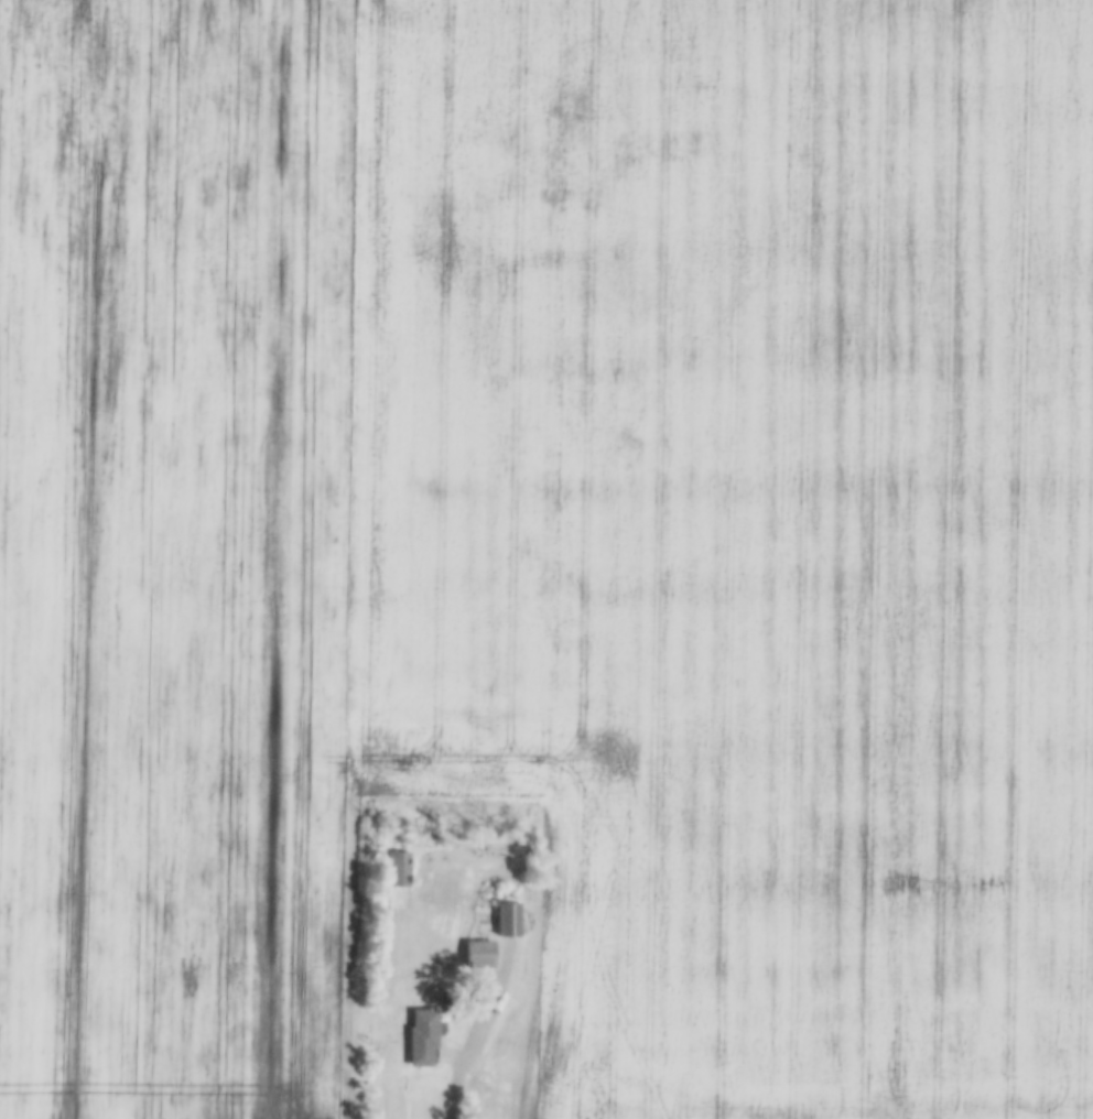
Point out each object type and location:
crop: (740, 530)
crop: (171, 553)
building: (397, 868)
building: (506, 919)
building: (478, 954)
road: (476, 1030)
building: (422, 1035)

